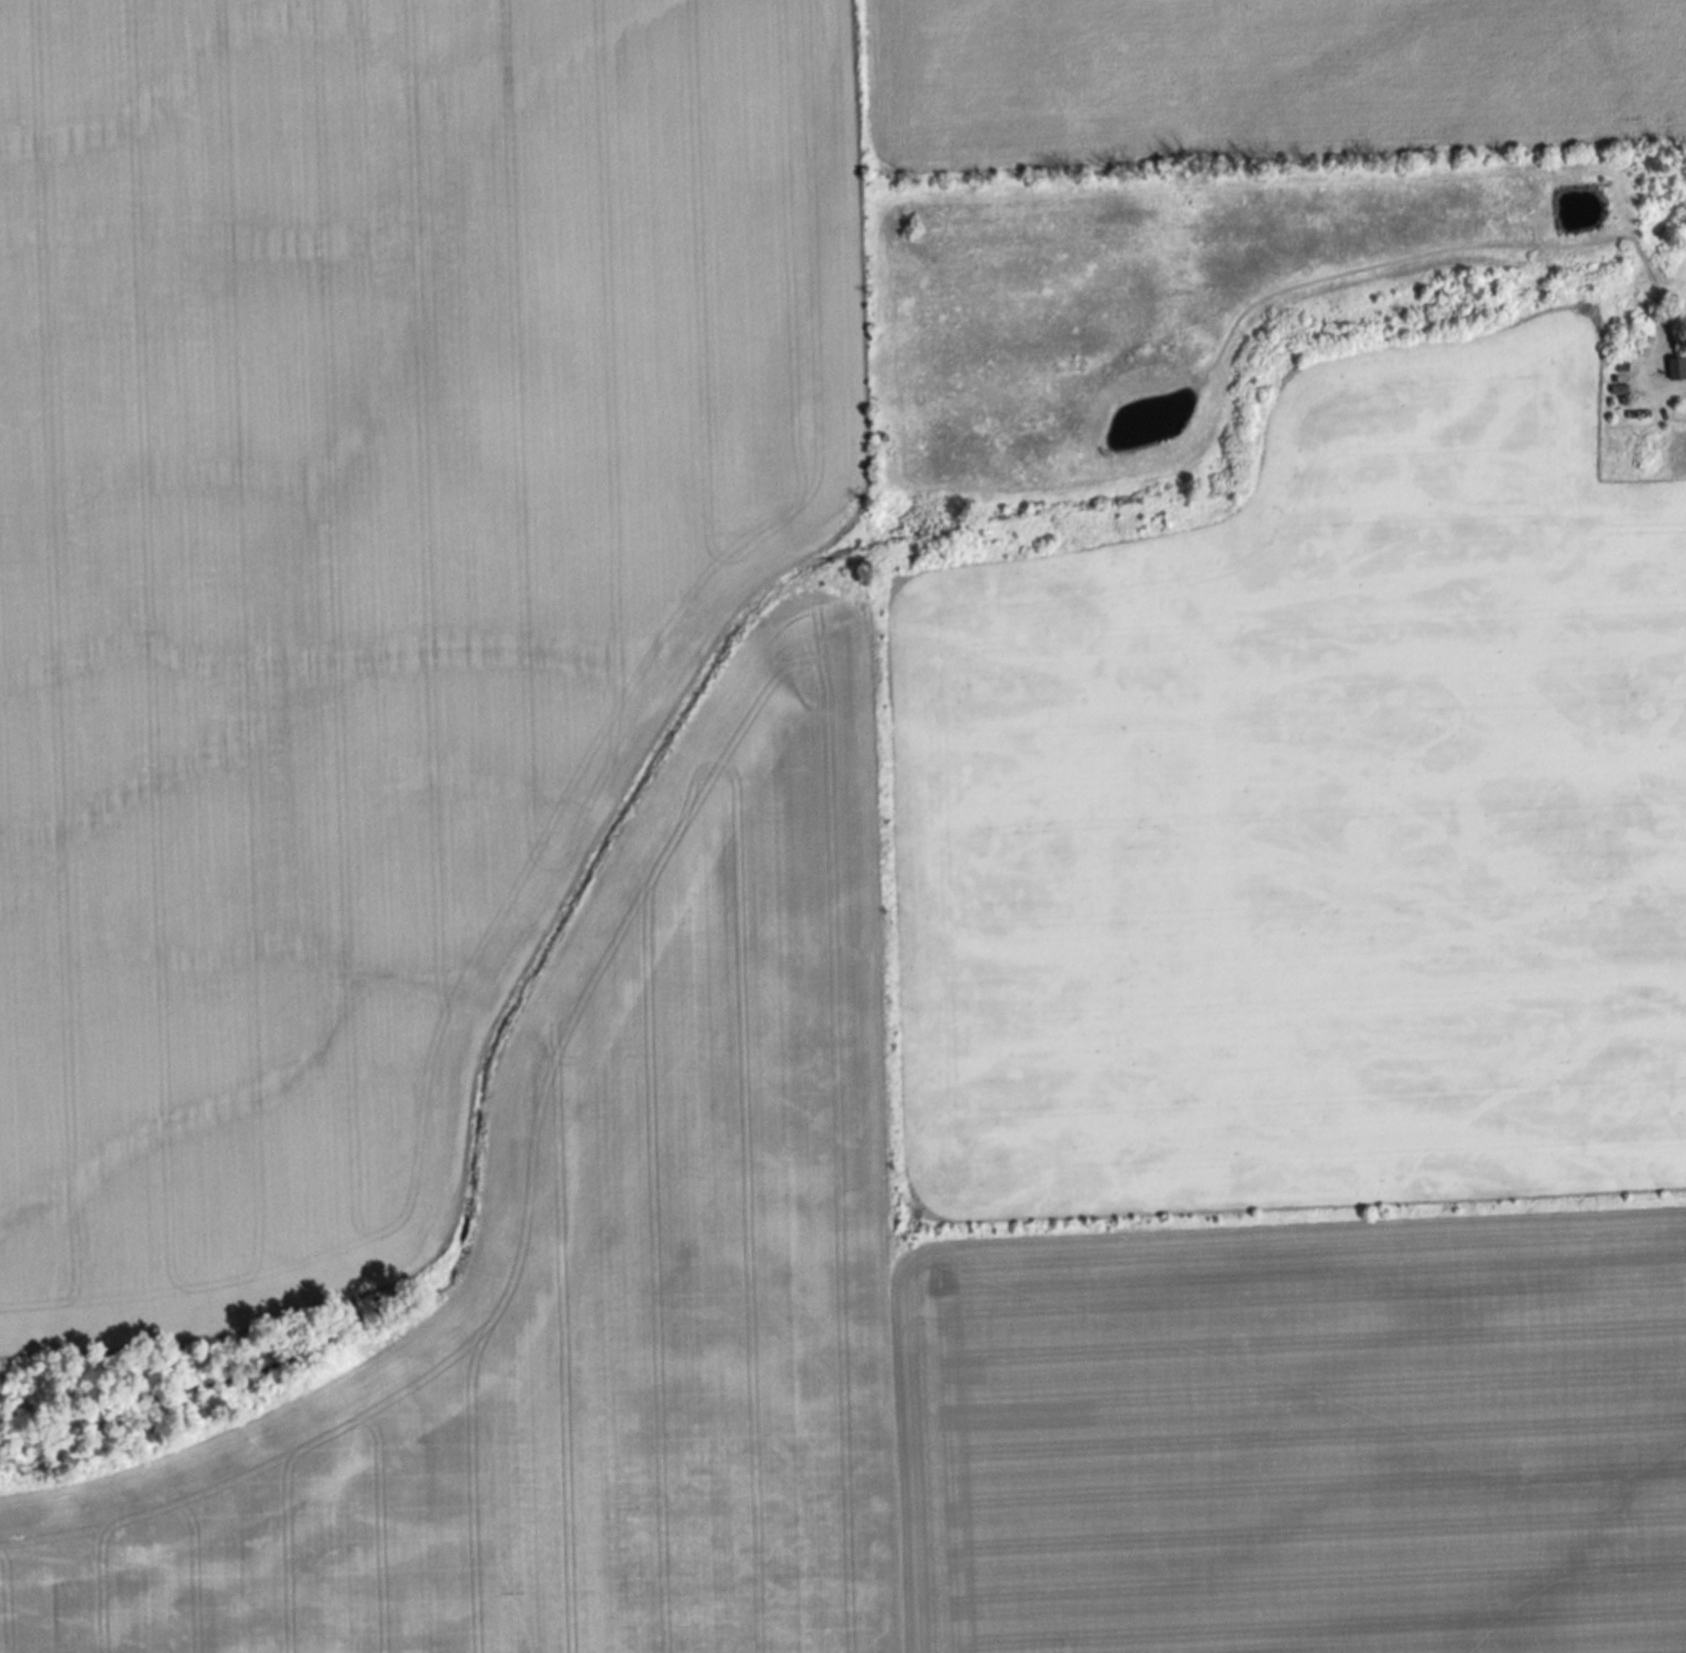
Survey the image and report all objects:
building: (1677, 366)
crop: (784, 913)

